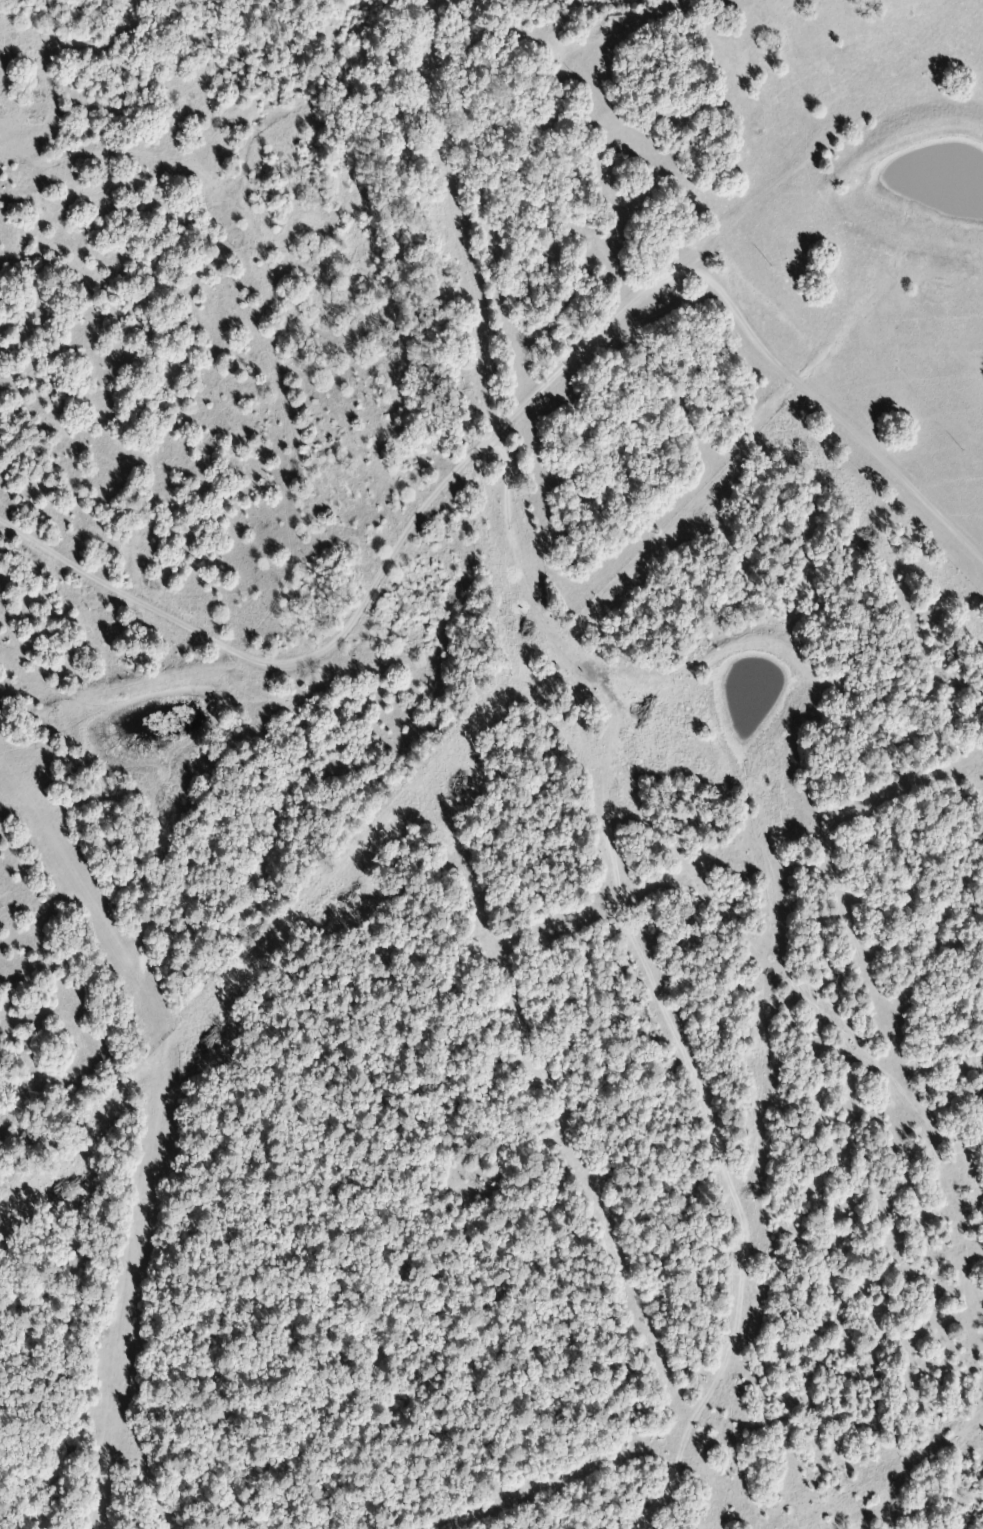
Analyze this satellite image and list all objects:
road: (892, 1478)

